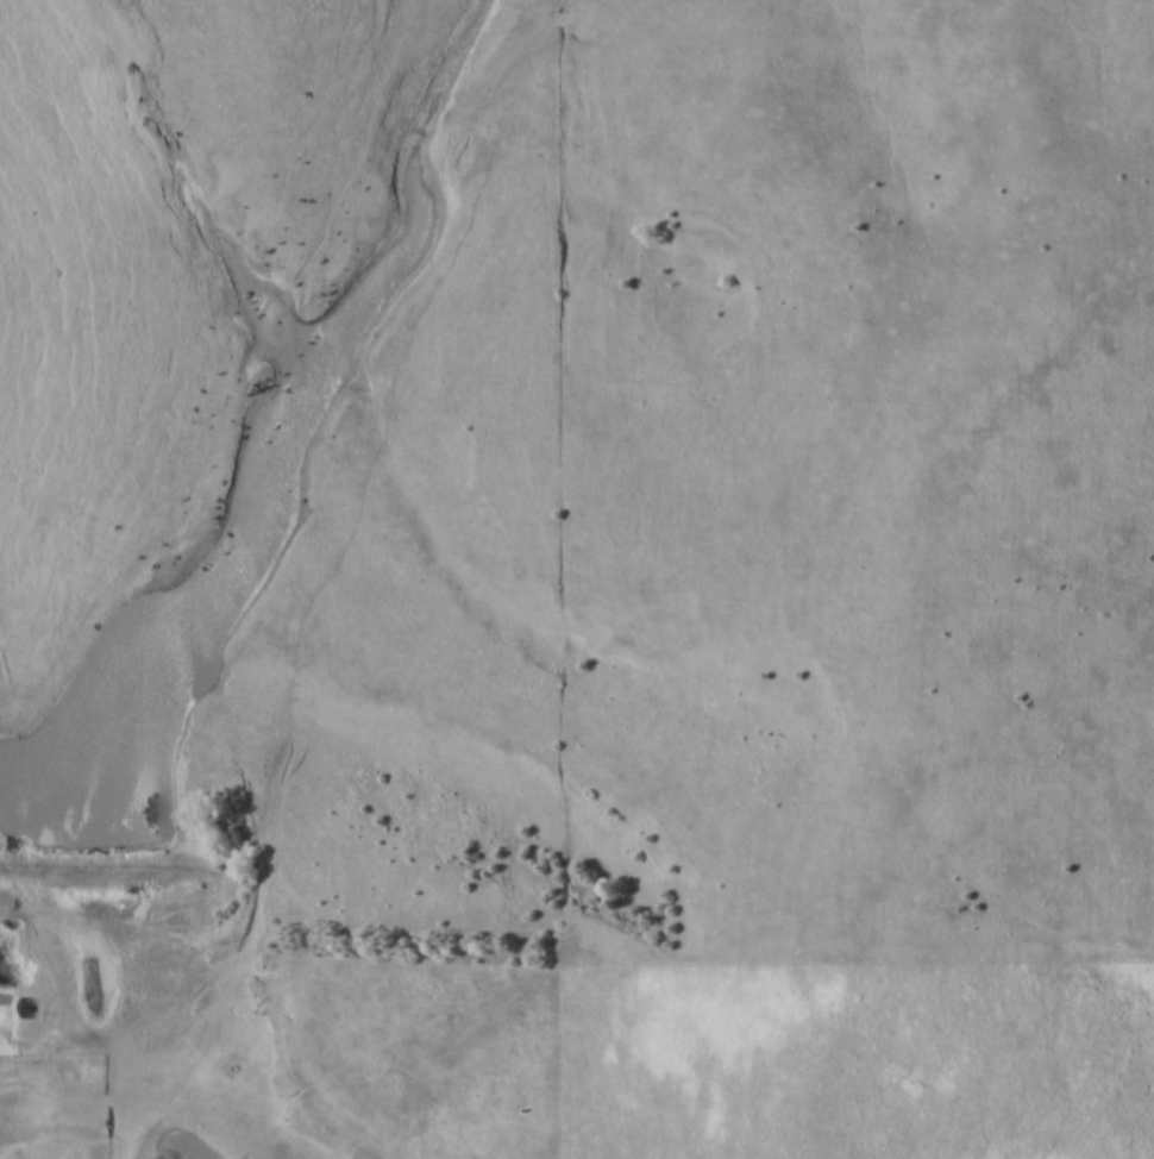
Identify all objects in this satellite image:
dam: (90, 866)
building: (8, 982)

